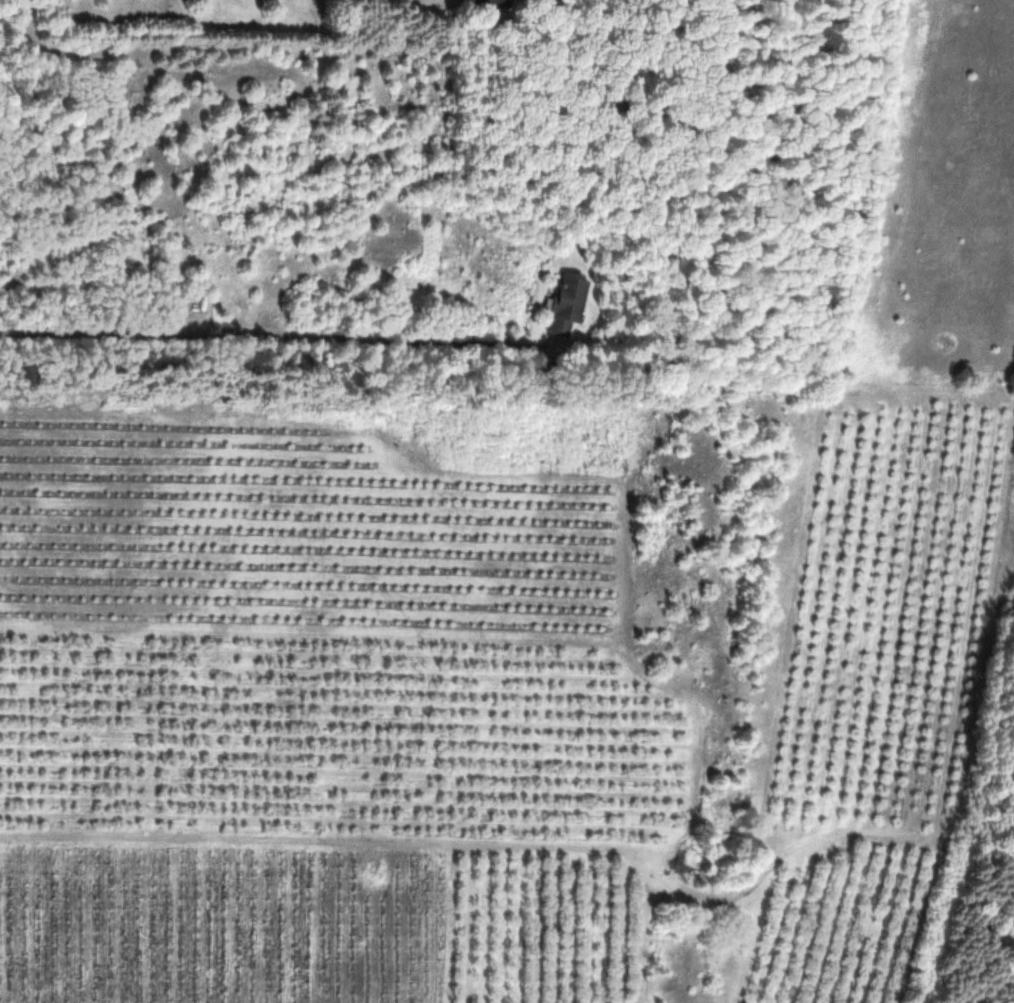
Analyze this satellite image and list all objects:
building: (568, 303)
road: (288, 334)

